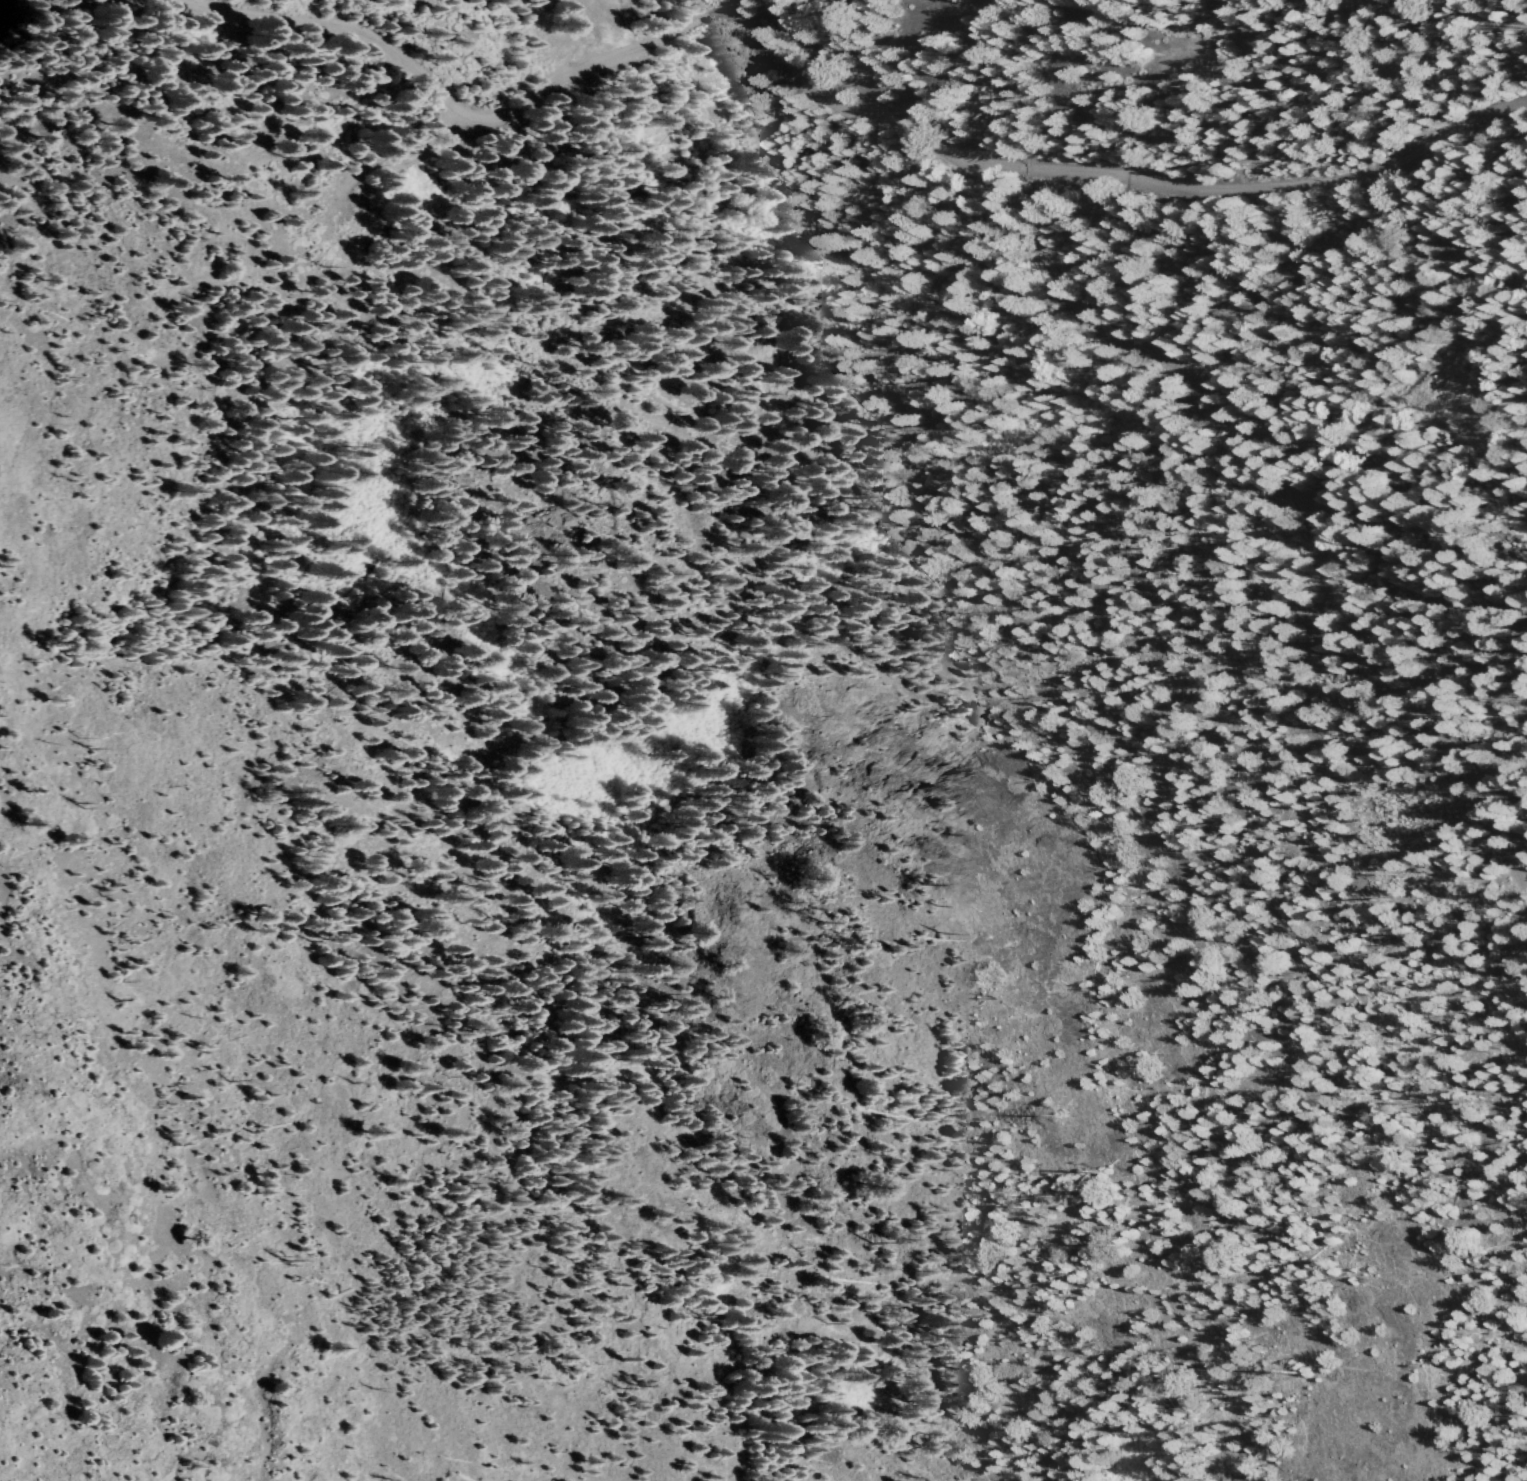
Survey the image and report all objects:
road: (985, 176)
road: (1262, 188)

